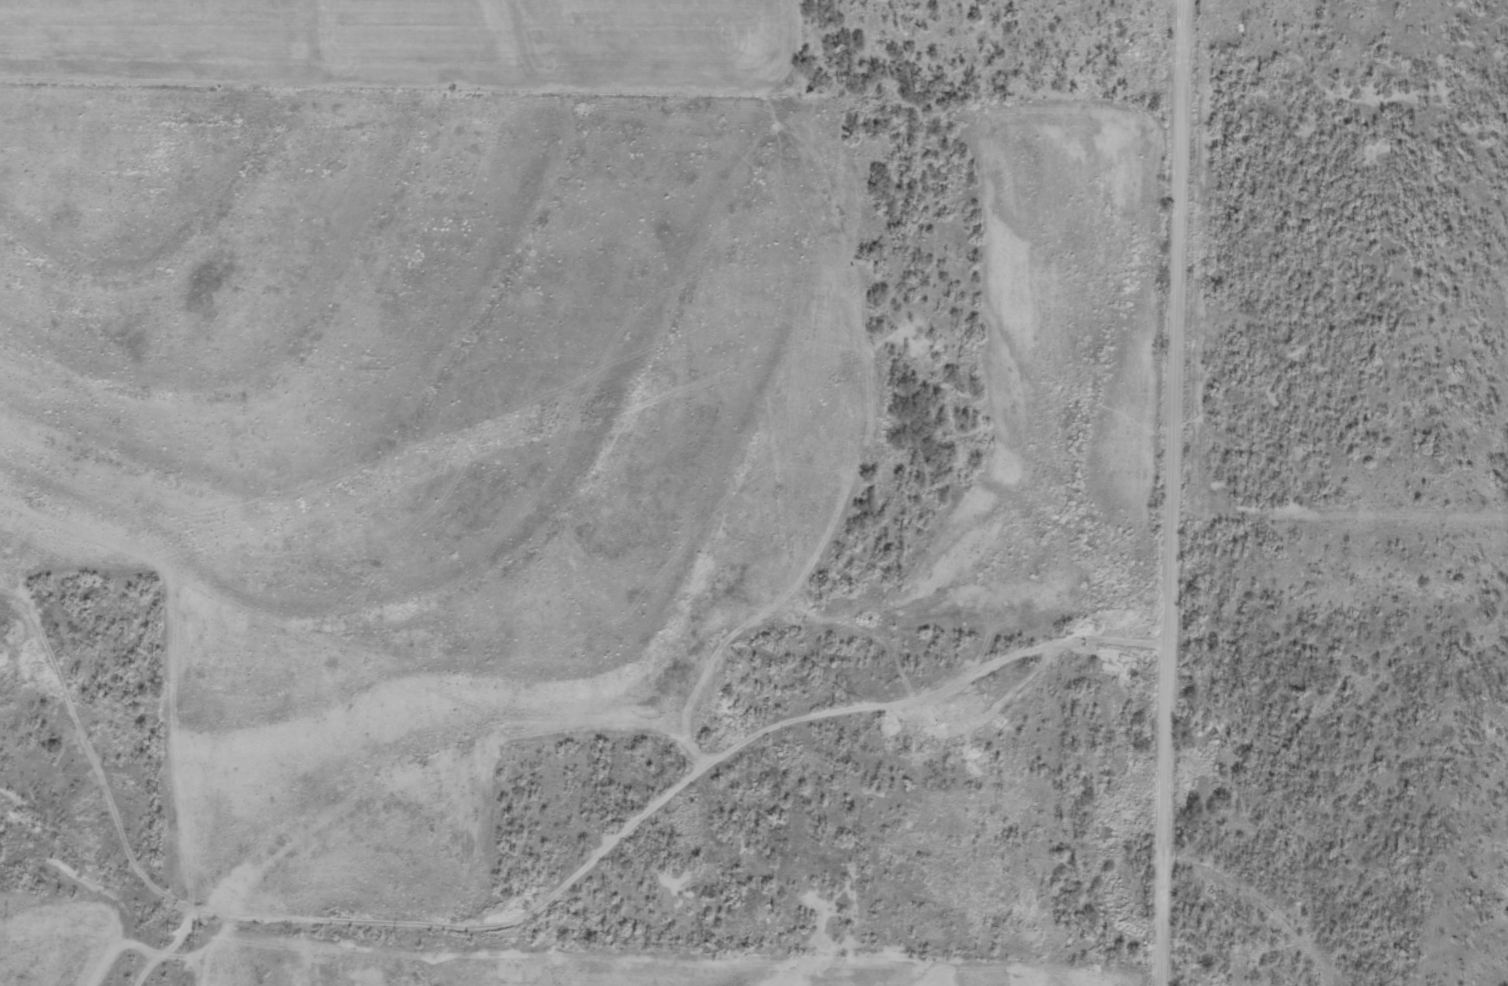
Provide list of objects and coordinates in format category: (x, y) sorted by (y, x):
road: (1173, 493)
road: (592, 865)

